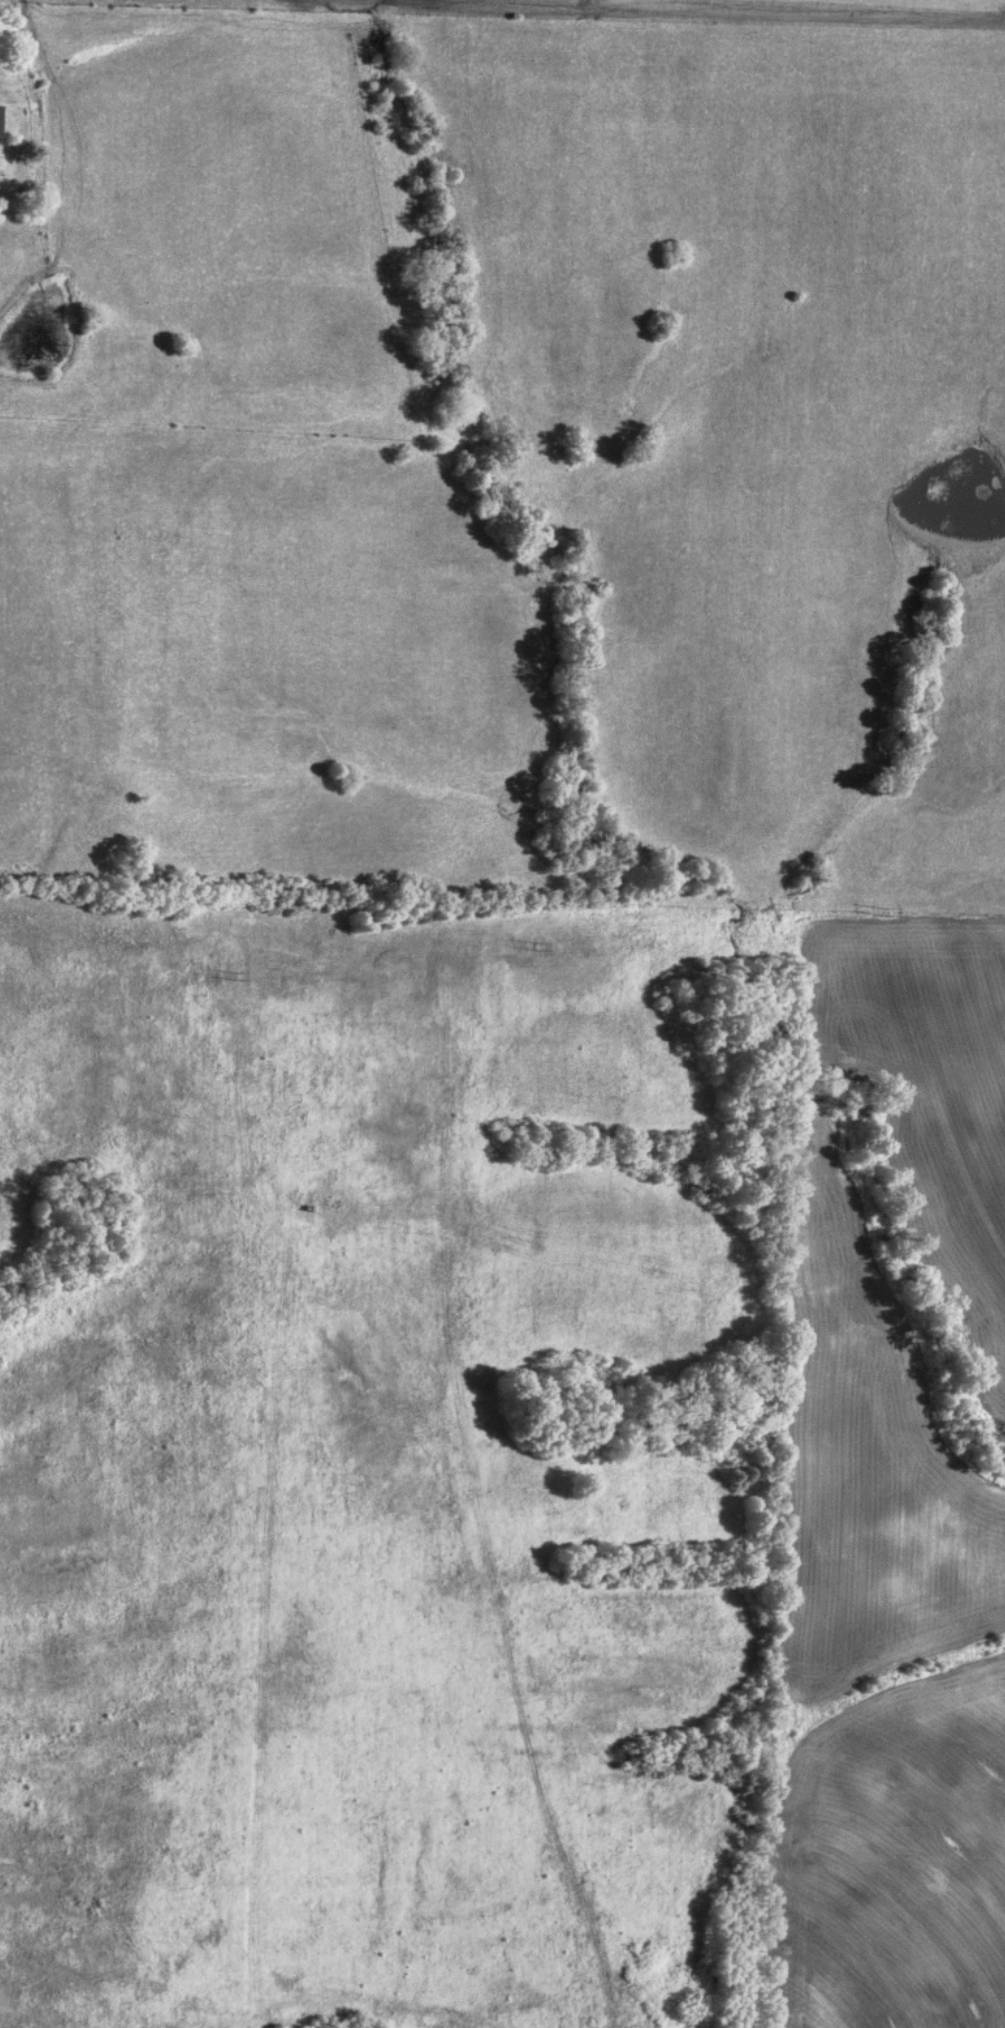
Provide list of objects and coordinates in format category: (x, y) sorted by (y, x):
building: (0, 122)
power tower: (885, 911)
power tower: (534, 942)
power tower: (234, 973)

